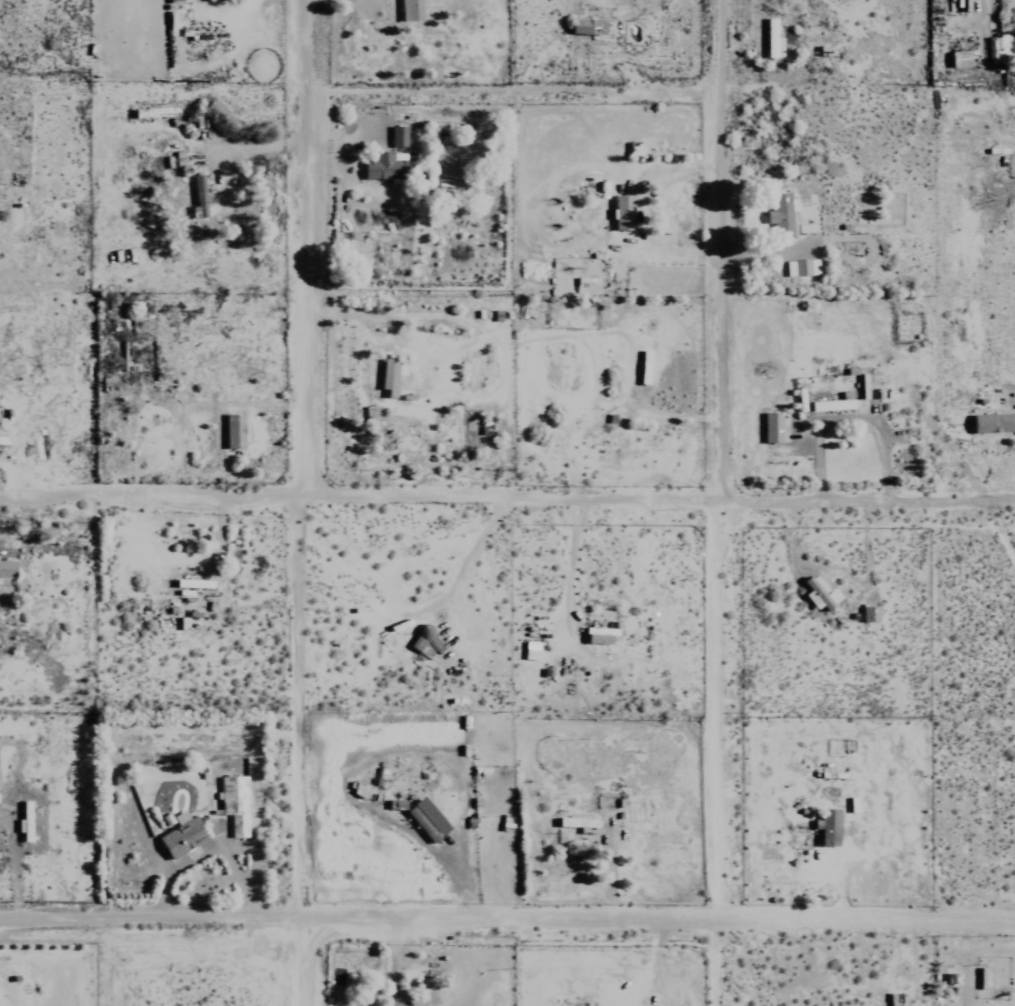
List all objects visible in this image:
road: (235, 11)
road: (253, 146)
road: (846, 421)
road: (721, 502)
road: (308, 503)
road: (507, 506)
road: (507, 926)
road: (414, 968)

